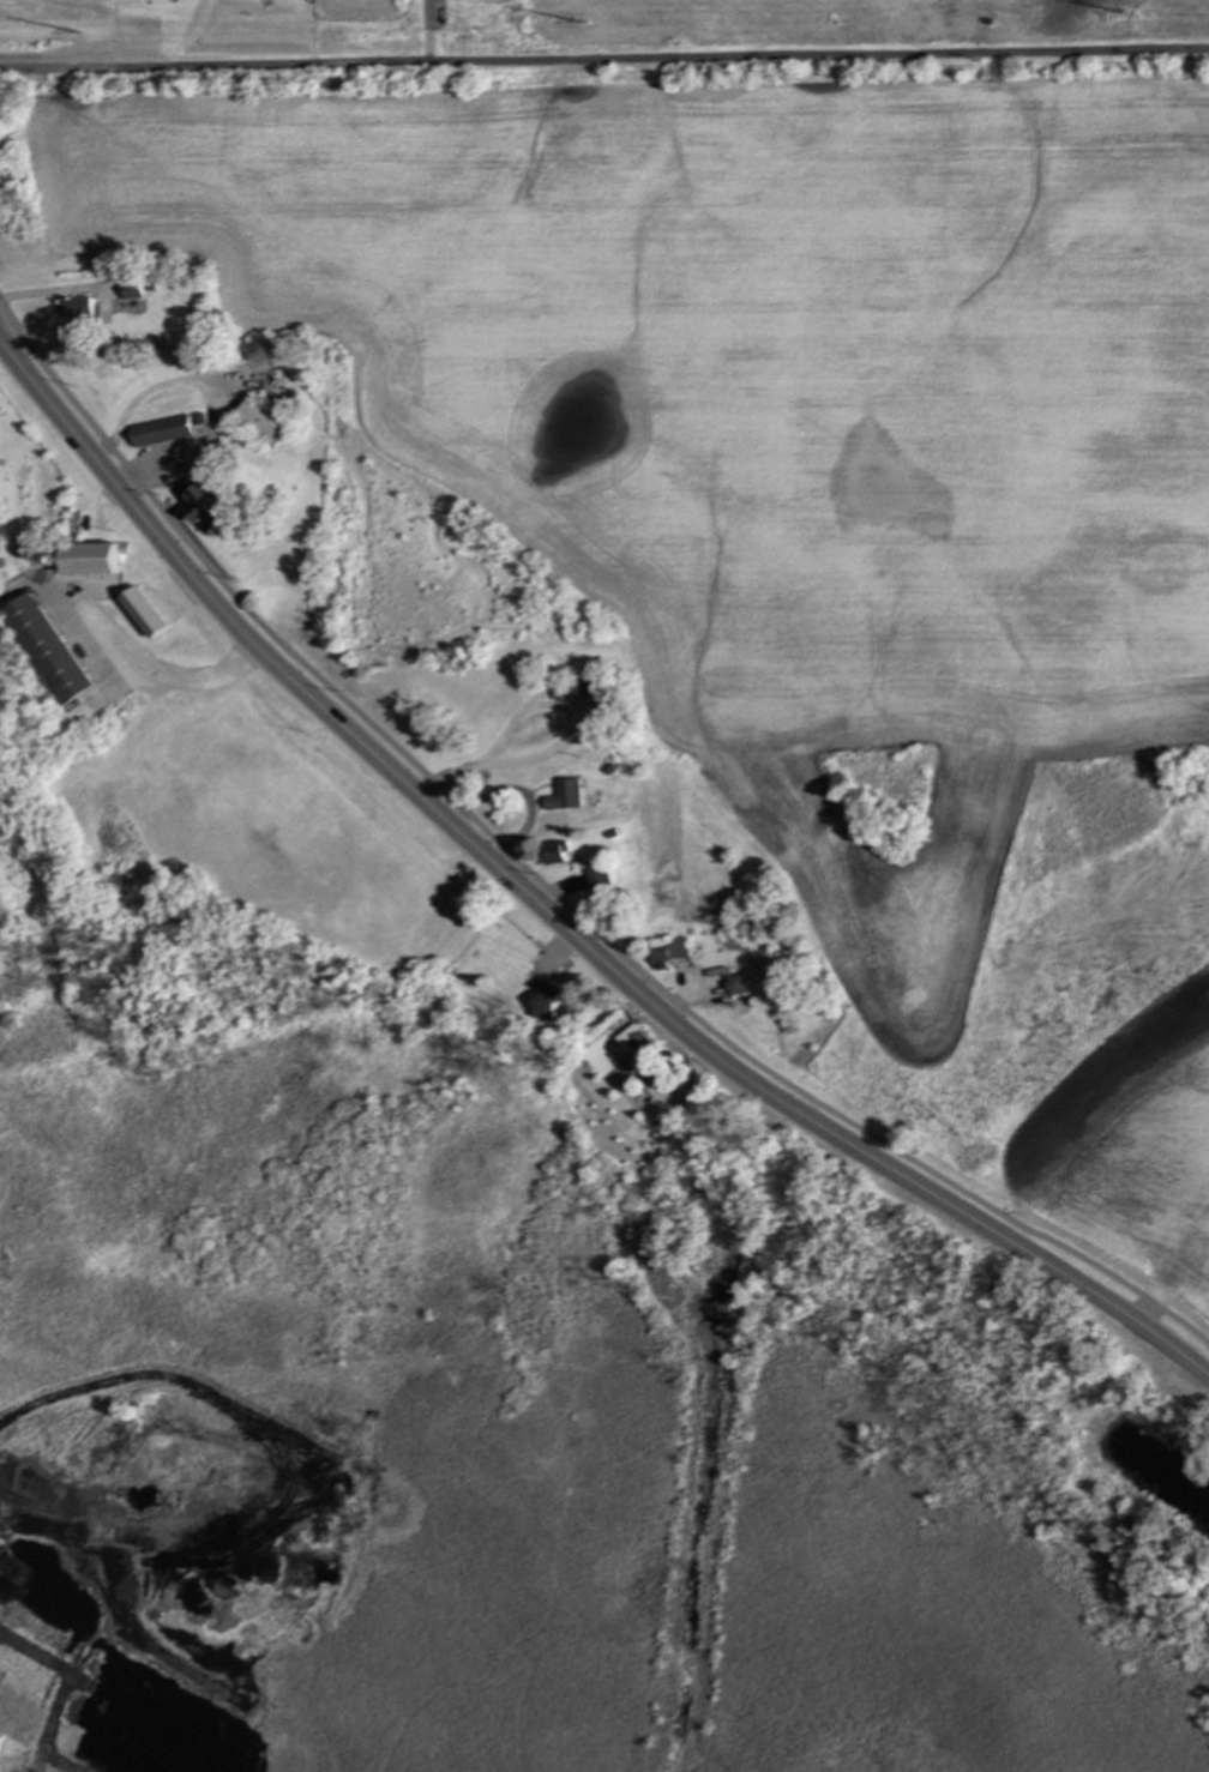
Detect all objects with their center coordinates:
road: (431, 12)
power tower: (1102, 13)
power tower: (565, 24)
power tower: (62, 36)
road: (425, 42)
road: (603, 59)
building: (132, 289)
building: (78, 311)
building: (261, 420)
crop: (769, 422)
building: (158, 430)
building: (204, 505)
building: (91, 559)
building: (144, 613)
building: (48, 650)
road: (119, 656)
building: (587, 688)
road: (563, 742)
building: (565, 795)
building: (553, 854)
building: (599, 878)
road: (548, 891)
road: (557, 920)
building: (667, 952)
building: (735, 984)
building: (545, 1003)
building: (633, 1038)
building: (627, 1065)
crop: (1132, 1153)

